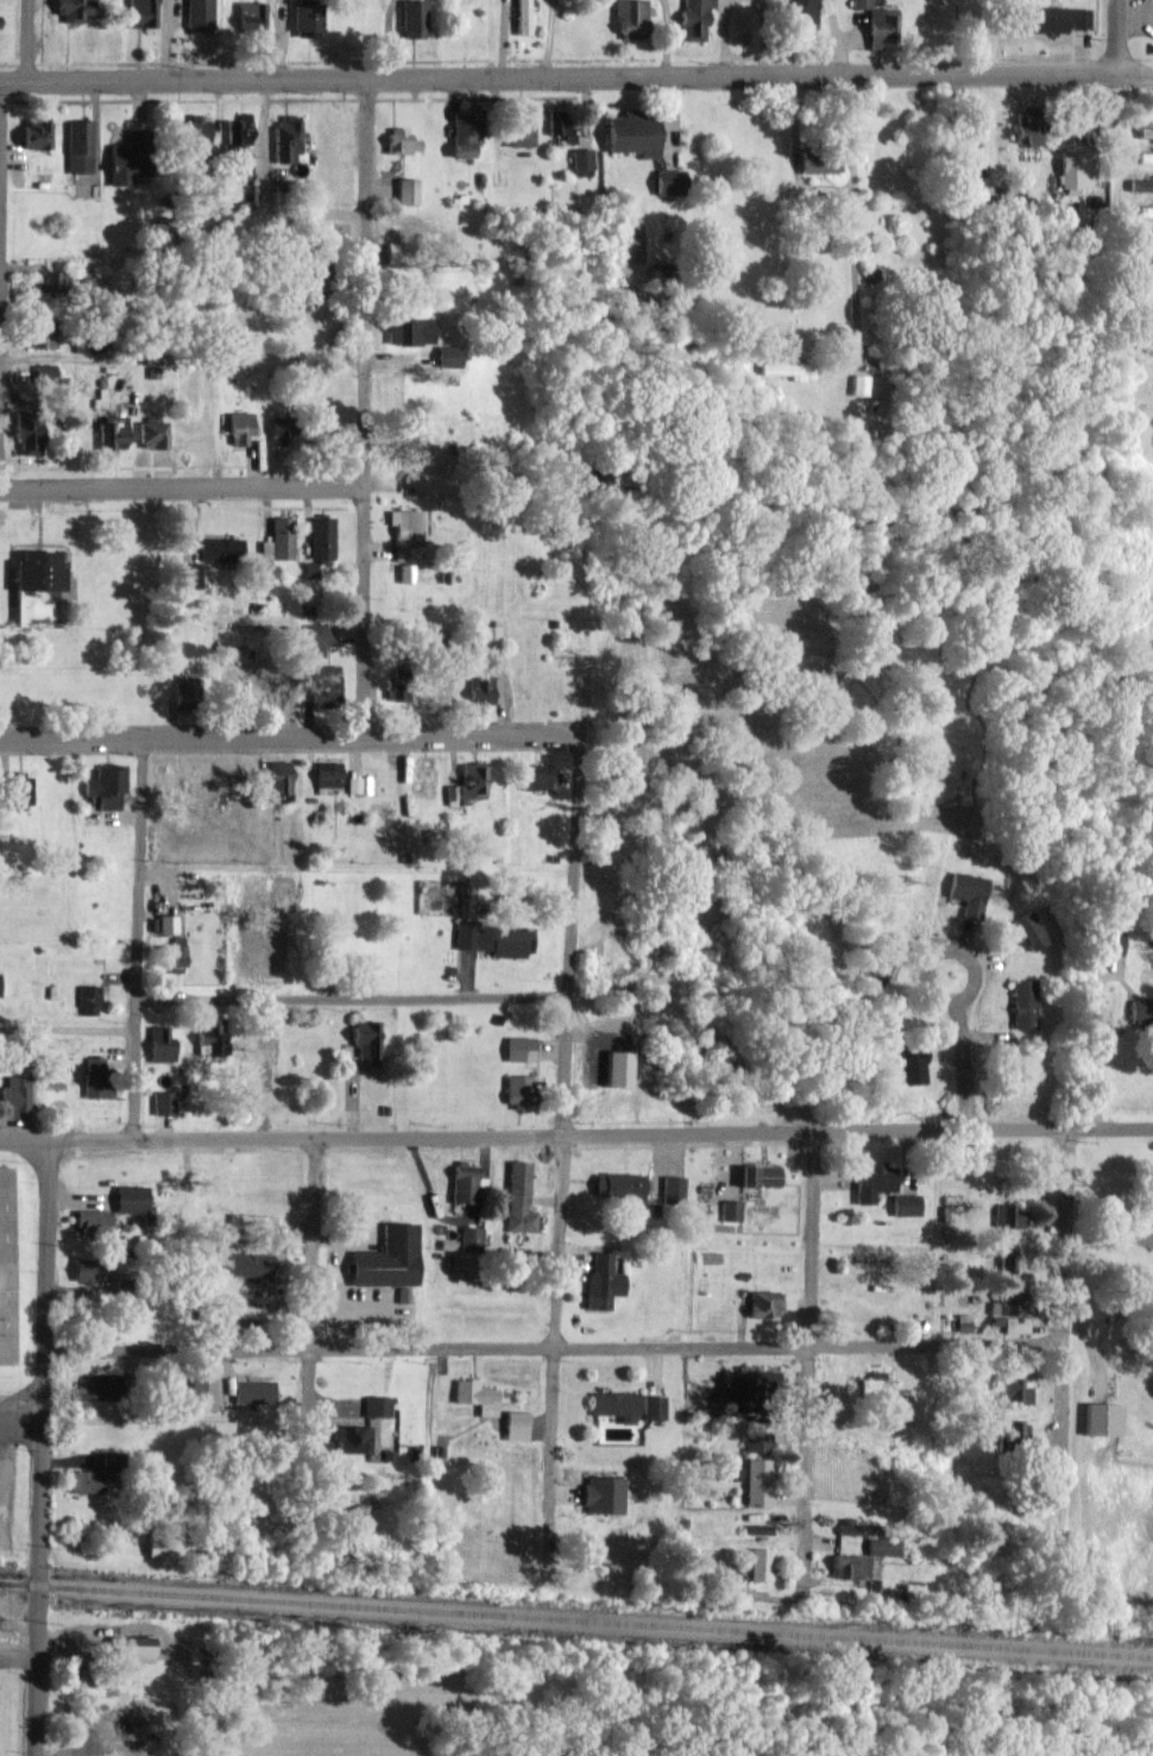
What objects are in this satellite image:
building: (861, 2)
building: (73, 8)
building: (141, 12)
building: (250, 13)
building: (799, 13)
building: (199, 14)
building: (522, 15)
building: (414, 17)
building: (630, 17)
building: (305, 18)
building: (694, 18)
building: (1058, 18)
building: (881, 26)
road: (1113, 36)
road: (26, 42)
road: (575, 76)
building: (521, 124)
building: (1026, 124)
building: (241, 127)
building: (464, 130)
building: (194, 131)
building: (563, 131)
building: (36, 132)
building: (631, 133)
building: (398, 136)
building: (286, 139)
building: (78, 144)
building: (1145, 156)
building: (581, 158)
building: (817, 161)
building: (240, 162)
building: (668, 181)
building: (1141, 184)
building: (407, 189)
building: (1145, 209)
road: (853, 218)
building: (1143, 235)
building: (1145, 264)
building: (50, 281)
building: (1145, 291)
building: (409, 329)
building: (43, 333)
building: (448, 355)
road: (182, 359)
building: (787, 367)
building: (44, 373)
building: (859, 383)
road: (363, 408)
building: (239, 427)
building: (112, 430)
building: (24, 432)
building: (153, 432)
building: (278, 434)
building: (408, 445)
road: (206, 487)
building: (407, 524)
building: (321, 536)
building: (278, 537)
building: (219, 548)
building: (309, 568)
building: (37, 569)
building: (405, 572)
building: (191, 574)
building: (487, 632)
building: (310, 640)
building: (326, 684)
building: (396, 688)
building: (480, 688)
road: (288, 738)
building: (327, 773)
building: (535, 776)
building: (472, 779)
building: (354, 783)
building: (106, 785)
building: (20, 788)
building: (451, 793)
road: (355, 871)
building: (968, 892)
building: (166, 923)
building: (1031, 929)
road: (569, 937)
road: (137, 938)
building: (494, 938)
building: (1110, 940)
building: (174, 952)
building: (266, 956)
building: (875, 971)
road: (935, 993)
road: (352, 997)
building: (88, 999)
building: (1023, 1002)
building: (1141, 1011)
road: (67, 1028)
building: (207, 1036)
building: (366, 1038)
building: (159, 1043)
building: (518, 1047)
road: (1088, 1049)
building: (911, 1064)
building: (95, 1076)
building: (518, 1090)
building: (18, 1095)
building: (163, 1101)
road: (575, 1134)
building: (762, 1175)
building: (872, 1181)
building: (464, 1183)
building: (618, 1184)
building: (1151, 1184)
building: (672, 1188)
building: (131, 1197)
building: (518, 1197)
building: (906, 1204)
building: (1003, 1213)
building: (251, 1217)
building: (93, 1222)
building: (471, 1238)
building: (388, 1257)
building: (248, 1264)
building: (862, 1265)
building: (4, 1267)
building: (92, 1270)
building: (603, 1282)
building: (764, 1303)
building: (1009, 1315)
building: (963, 1321)
road: (553, 1334)
road: (308, 1335)
road: (550, 1349)
road: (1058, 1349)
road: (807, 1362)
building: (752, 1378)
building: (874, 1384)
building: (90, 1386)
building: (1010, 1390)
building: (252, 1391)
building: (206, 1393)
building: (475, 1395)
building: (616, 1404)
building: (377, 1405)
building: (653, 1406)
building: (1102, 1418)
building: (516, 1424)
building: (1014, 1429)
building: (351, 1437)
building: (757, 1442)
road: (42, 1448)
building: (82, 1480)
building: (757, 1481)
building: (603, 1493)
building: (758, 1528)
building: (849, 1528)
building: (163, 1544)
building: (884, 1546)
building: (760, 1563)
building: (850, 1566)
railway: (576, 1617)
building: (131, 1648)

